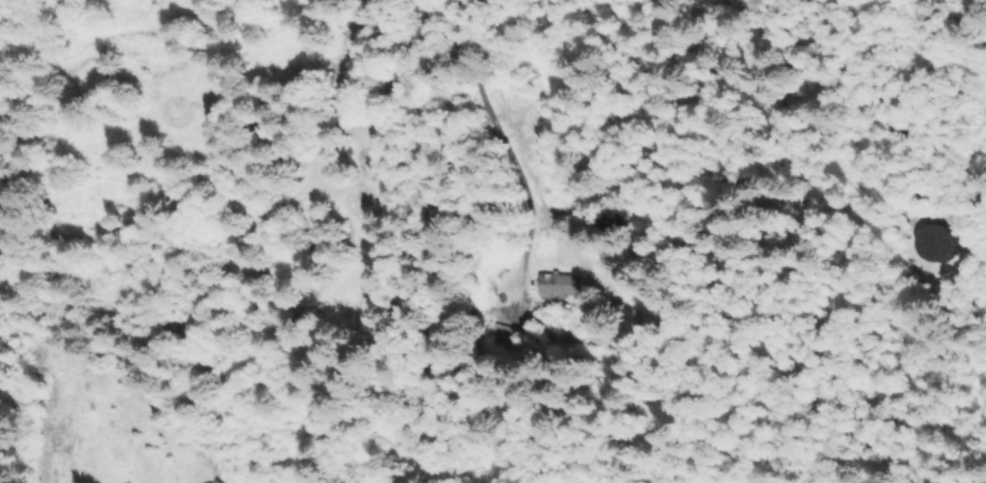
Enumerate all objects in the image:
building: (941, 242)
building: (565, 285)

